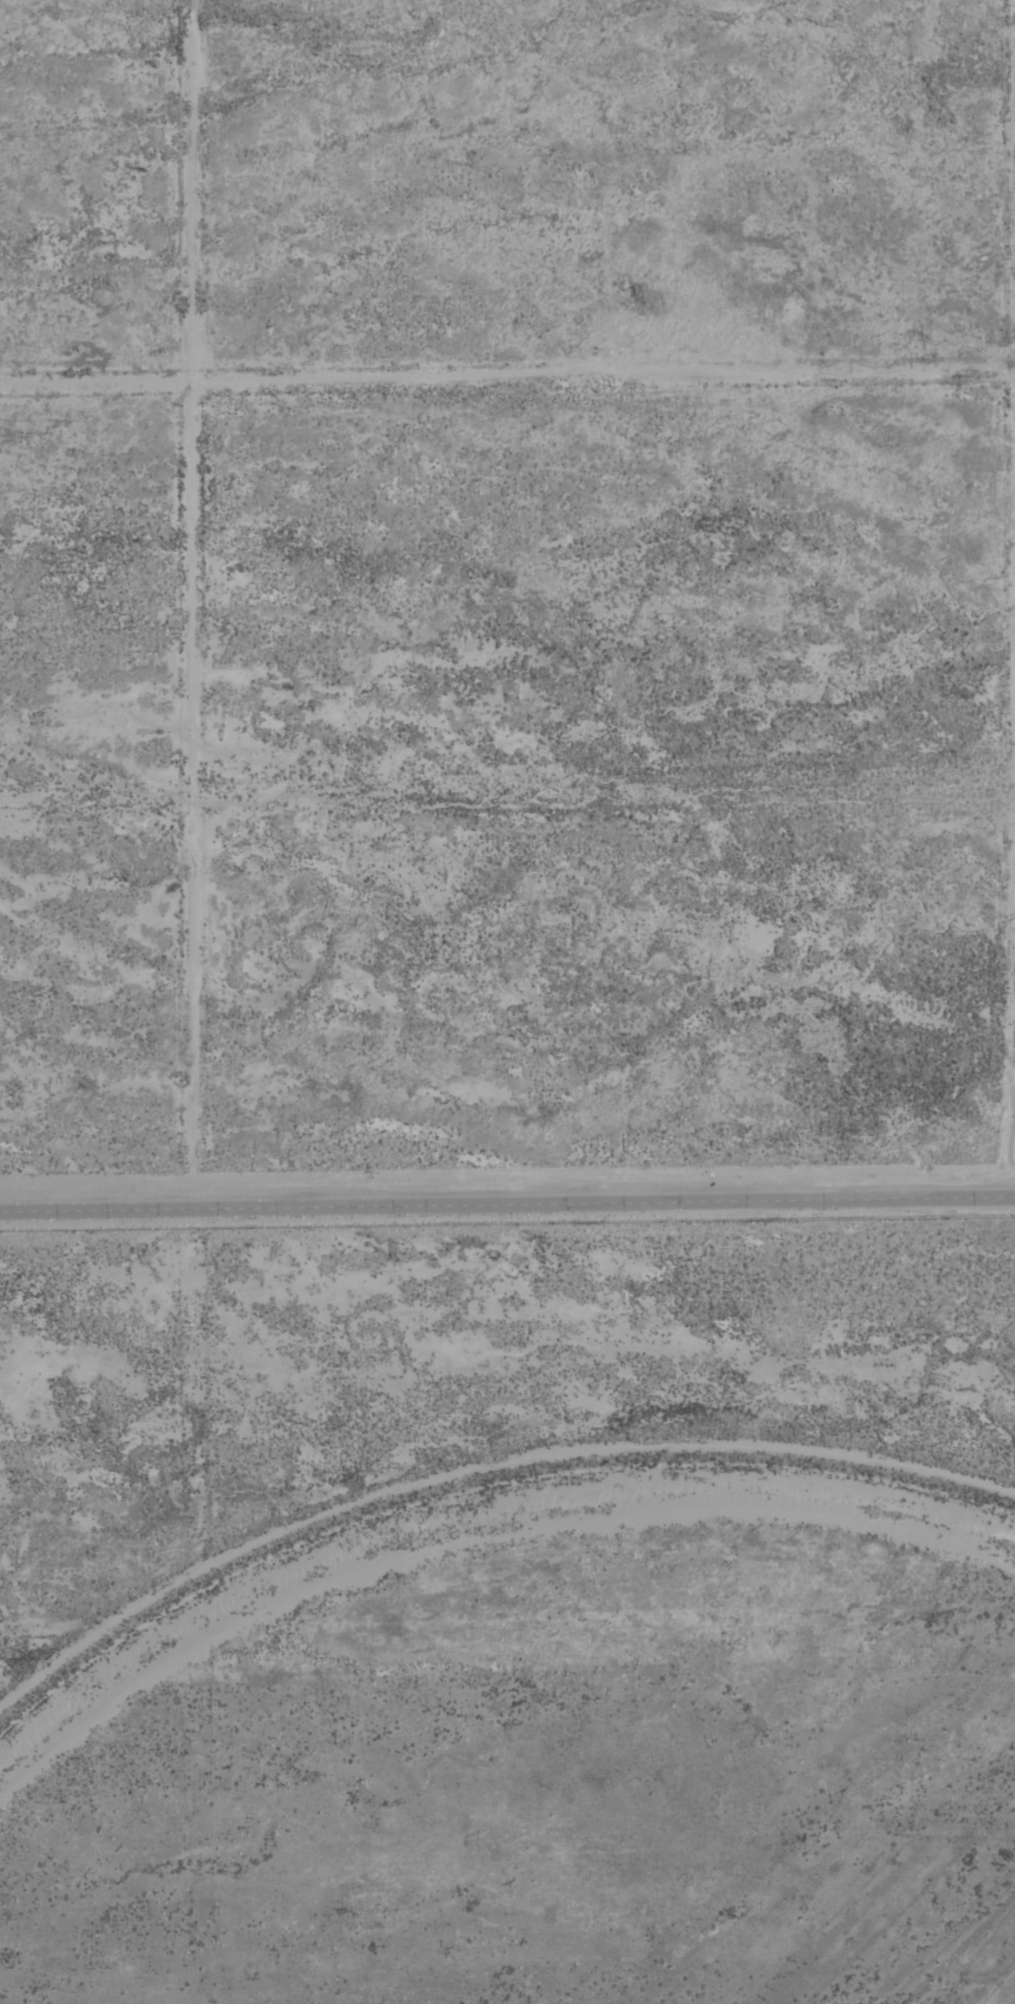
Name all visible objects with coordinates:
road: (507, 1205)

